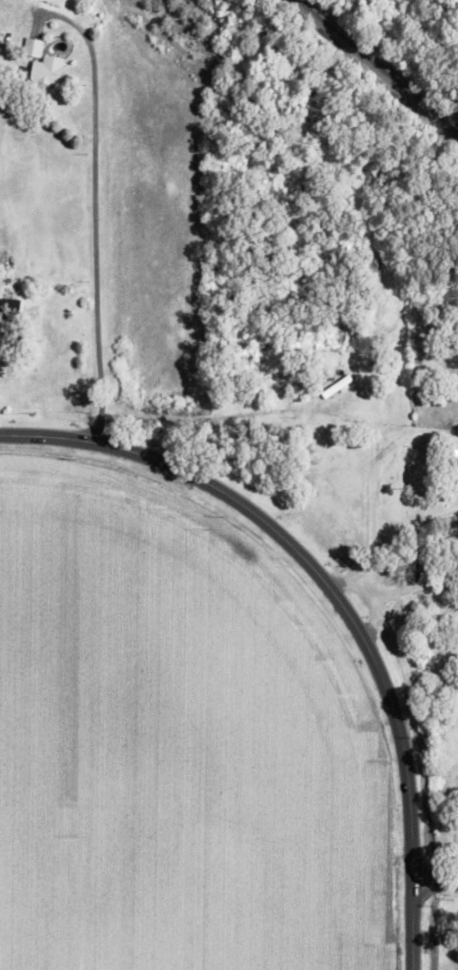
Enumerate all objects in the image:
building: (32, 47)
railway: (380, 65)
building: (47, 70)
road: (89, 208)
building: (4, 337)
road: (367, 382)
road: (350, 582)
road: (416, 589)
road: (338, 595)
road: (437, 884)

